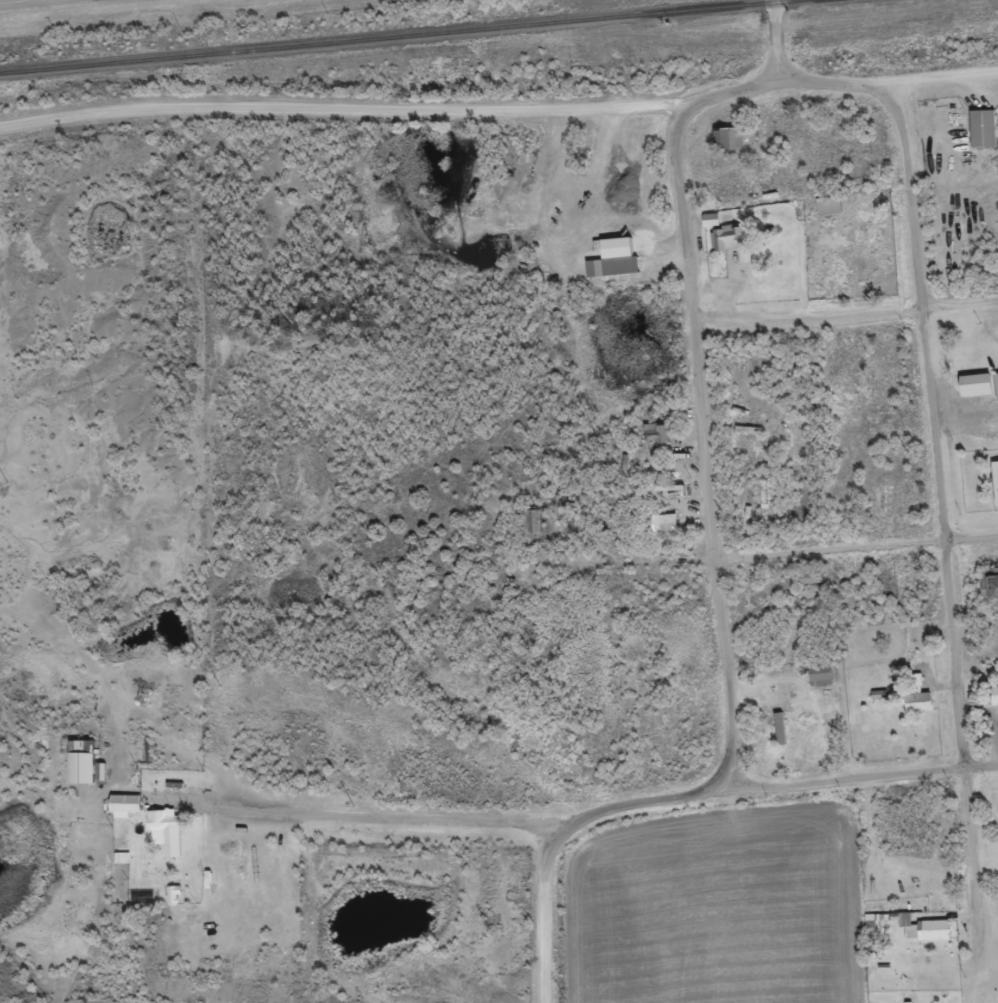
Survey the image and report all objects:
road: (25, 2)
railway: (394, 35)
road: (775, 39)
road: (500, 113)
building: (980, 136)
building: (724, 146)
building: (825, 213)
building: (708, 228)
building: (722, 247)
building: (610, 267)
road: (846, 319)
building: (994, 394)
building: (653, 441)
road: (707, 446)
building: (994, 489)
building: (661, 531)
road: (947, 535)
road: (858, 551)
road: (630, 564)
building: (988, 594)
building: (817, 684)
building: (993, 703)
building: (914, 710)
building: (776, 736)
building: (77, 770)
road: (776, 786)
building: (121, 813)
road: (401, 820)
building: (162, 839)
building: (170, 902)
road: (545, 913)
building: (869, 930)
building: (921, 937)

